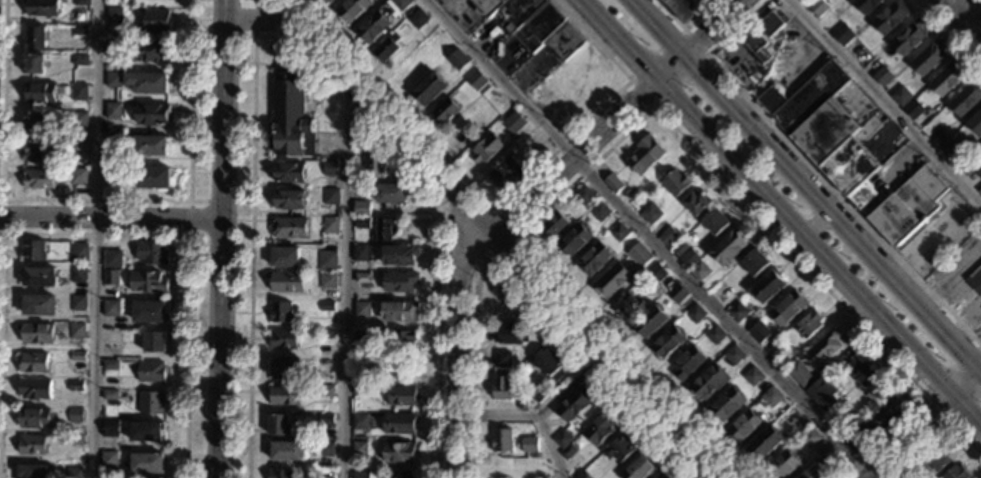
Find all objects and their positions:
building: (328, 1)
building: (804, 1)
road: (923, 2)
building: (80, 3)
building: (400, 3)
building: (865, 5)
building: (42, 7)
building: (818, 7)
building: (509, 8)
building: (685, 8)
building: (350, 9)
building: (114, 15)
building: (890, 17)
road: (255, 18)
road: (964, 18)
building: (417, 19)
road: (975, 19)
building: (156, 20)
road: (254, 22)
building: (373, 24)
road: (684, 26)
building: (538, 27)
building: (80, 30)
road: (949, 33)
building: (842, 34)
building: (34, 36)
road: (223, 36)
building: (909, 36)
building: (761, 37)
building: (564, 41)
building: (113, 47)
building: (385, 47)
road: (294, 49)
building: (149, 51)
road: (707, 54)
building: (867, 58)
building: (927, 58)
building: (456, 59)
building: (79, 60)
building: (34, 63)
building: (882, 76)
building: (948, 78)
building: (475, 80)
building: (139, 81)
building: (427, 87)
building: (79, 92)
building: (40, 93)
building: (901, 96)
building: (966, 98)
road: (884, 103)
building: (496, 104)
road: (651, 107)
building: (444, 109)
building: (912, 109)
building: (113, 111)
building: (152, 113)
building: (290, 116)
road: (617, 116)
building: (78, 119)
building: (59, 120)
building: (33, 122)
building: (514, 122)
building: (975, 124)
building: (941, 138)
building: (112, 143)
building: (150, 145)
building: (79, 146)
building: (485, 148)
building: (950, 149)
building: (34, 150)
building: (850, 154)
building: (644, 155)
building: (373, 167)
building: (968, 168)
building: (329, 169)
road: (817, 170)
building: (288, 172)
building: (112, 174)
building: (506, 174)
building: (77, 177)
building: (151, 177)
building: (38, 179)
building: (356, 179)
building: (675, 182)
building: (613, 183)
road: (806, 185)
building: (979, 191)
road: (452, 193)
building: (389, 194)
building: (583, 195)
building: (330, 197)
road: (97, 199)
building: (288, 199)
road: (202, 201)
building: (695, 202)
road: (495, 206)
building: (360, 208)
building: (600, 212)
road: (2, 214)
building: (651, 214)
road: (781, 214)
road: (110, 221)
building: (361, 222)
building: (715, 222)
road: (815, 222)
building: (328, 224)
building: (553, 225)
building: (288, 227)
building: (382, 230)
building: (619, 232)
building: (667, 235)
road: (154, 236)
road: (515, 237)
road: (94, 238)
road: (221, 238)
road: (651, 238)
building: (574, 239)
road: (495, 240)
building: (728, 246)
building: (680, 248)
building: (33, 251)
building: (78, 253)
building: (151, 253)
building: (361, 254)
building: (639, 254)
building: (399, 255)
building: (284, 256)
building: (593, 258)
building: (111, 259)
building: (689, 259)
building: (326, 260)
building: (754, 262)
building: (699, 271)
building: (656, 272)
building: (77, 275)
building: (40, 277)
building: (110, 277)
building: (362, 277)
building: (612, 279)
building: (975, 279)
building: (327, 280)
road: (346, 280)
building: (146, 281)
building: (287, 282)
building: (400, 282)
building: (768, 287)
road: (519, 288)
building: (677, 293)
building: (76, 303)
building: (38, 305)
building: (326, 306)
building: (628, 306)
building: (110, 308)
building: (787, 308)
building: (361, 310)
building: (399, 311)
building: (148, 312)
building: (280, 312)
building: (738, 312)
building: (695, 314)
building: (649, 321)
building: (808, 324)
building: (76, 330)
building: (509, 332)
building: (759, 332)
building: (37, 333)
building: (326, 333)
building: (715, 334)
building: (110, 338)
building: (283, 339)
building: (361, 339)
building: (402, 339)
building: (154, 341)
building: (668, 341)
building: (825, 347)
road: (452, 349)
building: (775, 351)
building: (734, 355)
building: (77, 356)
building: (502, 360)
building: (687, 362)
building: (34, 363)
building: (109, 364)
building: (547, 364)
building: (283, 367)
building: (150, 371)
building: (800, 375)
building: (753, 376)
building: (708, 381)
building: (870, 381)
building: (76, 385)
building: (501, 388)
building: (34, 389)
building: (325, 390)
building: (359, 391)
building: (538, 393)
building: (823, 393)
building: (109, 395)
building: (285, 396)
building: (402, 396)
building: (771, 397)
road: (927, 397)
building: (522, 401)
building: (150, 402)
building: (727, 403)
building: (573, 404)
road: (538, 413)
building: (75, 415)
building: (789, 415)
building: (35, 417)
building: (325, 418)
building: (875, 420)
building: (359, 422)
building: (398, 423)
building: (279, 425)
building: (744, 426)
road: (926, 427)
building: (110, 429)
building: (598, 430)
building: (145, 431)
road: (936, 434)
building: (809, 438)
building: (74, 440)
building: (501, 440)
building: (562, 440)
building: (765, 442)
building: (529, 444)
building: (33, 445)
road: (549, 446)
building: (619, 448)
building: (324, 449)
building: (358, 449)
building: (286, 451)
building: (568, 451)
building: (397, 452)
building: (935, 458)
building: (108, 460)
building: (830, 462)
building: (147, 463)
building: (782, 464)
building: (521, 468)
building: (639, 468)
building: (33, 471)
building: (74, 472)
road: (704, 472)
building: (955, 472)
building: (325, 473)
building: (280, 474)
building: (360, 474)
building: (541, 474)
building: (401, 475)
building: (582, 475)
building: (805, 475)
building: (662, 476)

